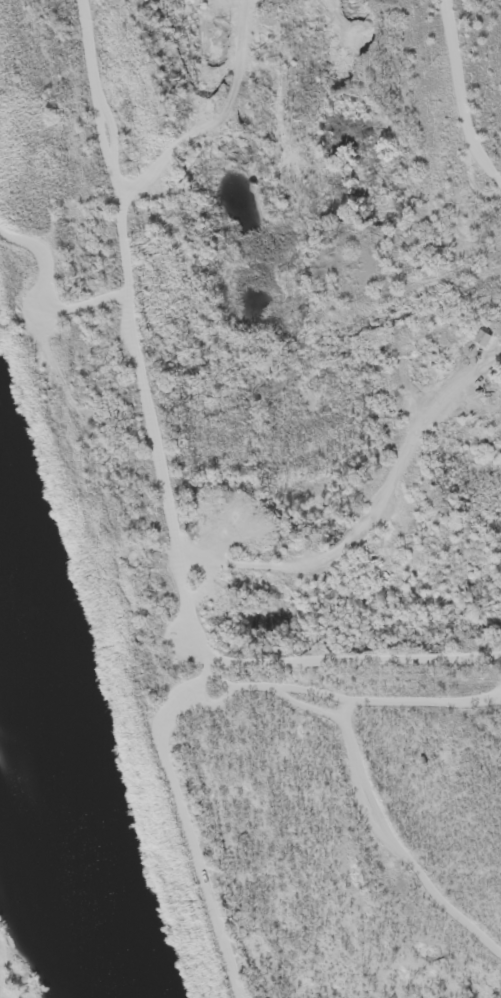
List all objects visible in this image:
road: (353, 155)
road: (181, 503)
river: (43, 751)

